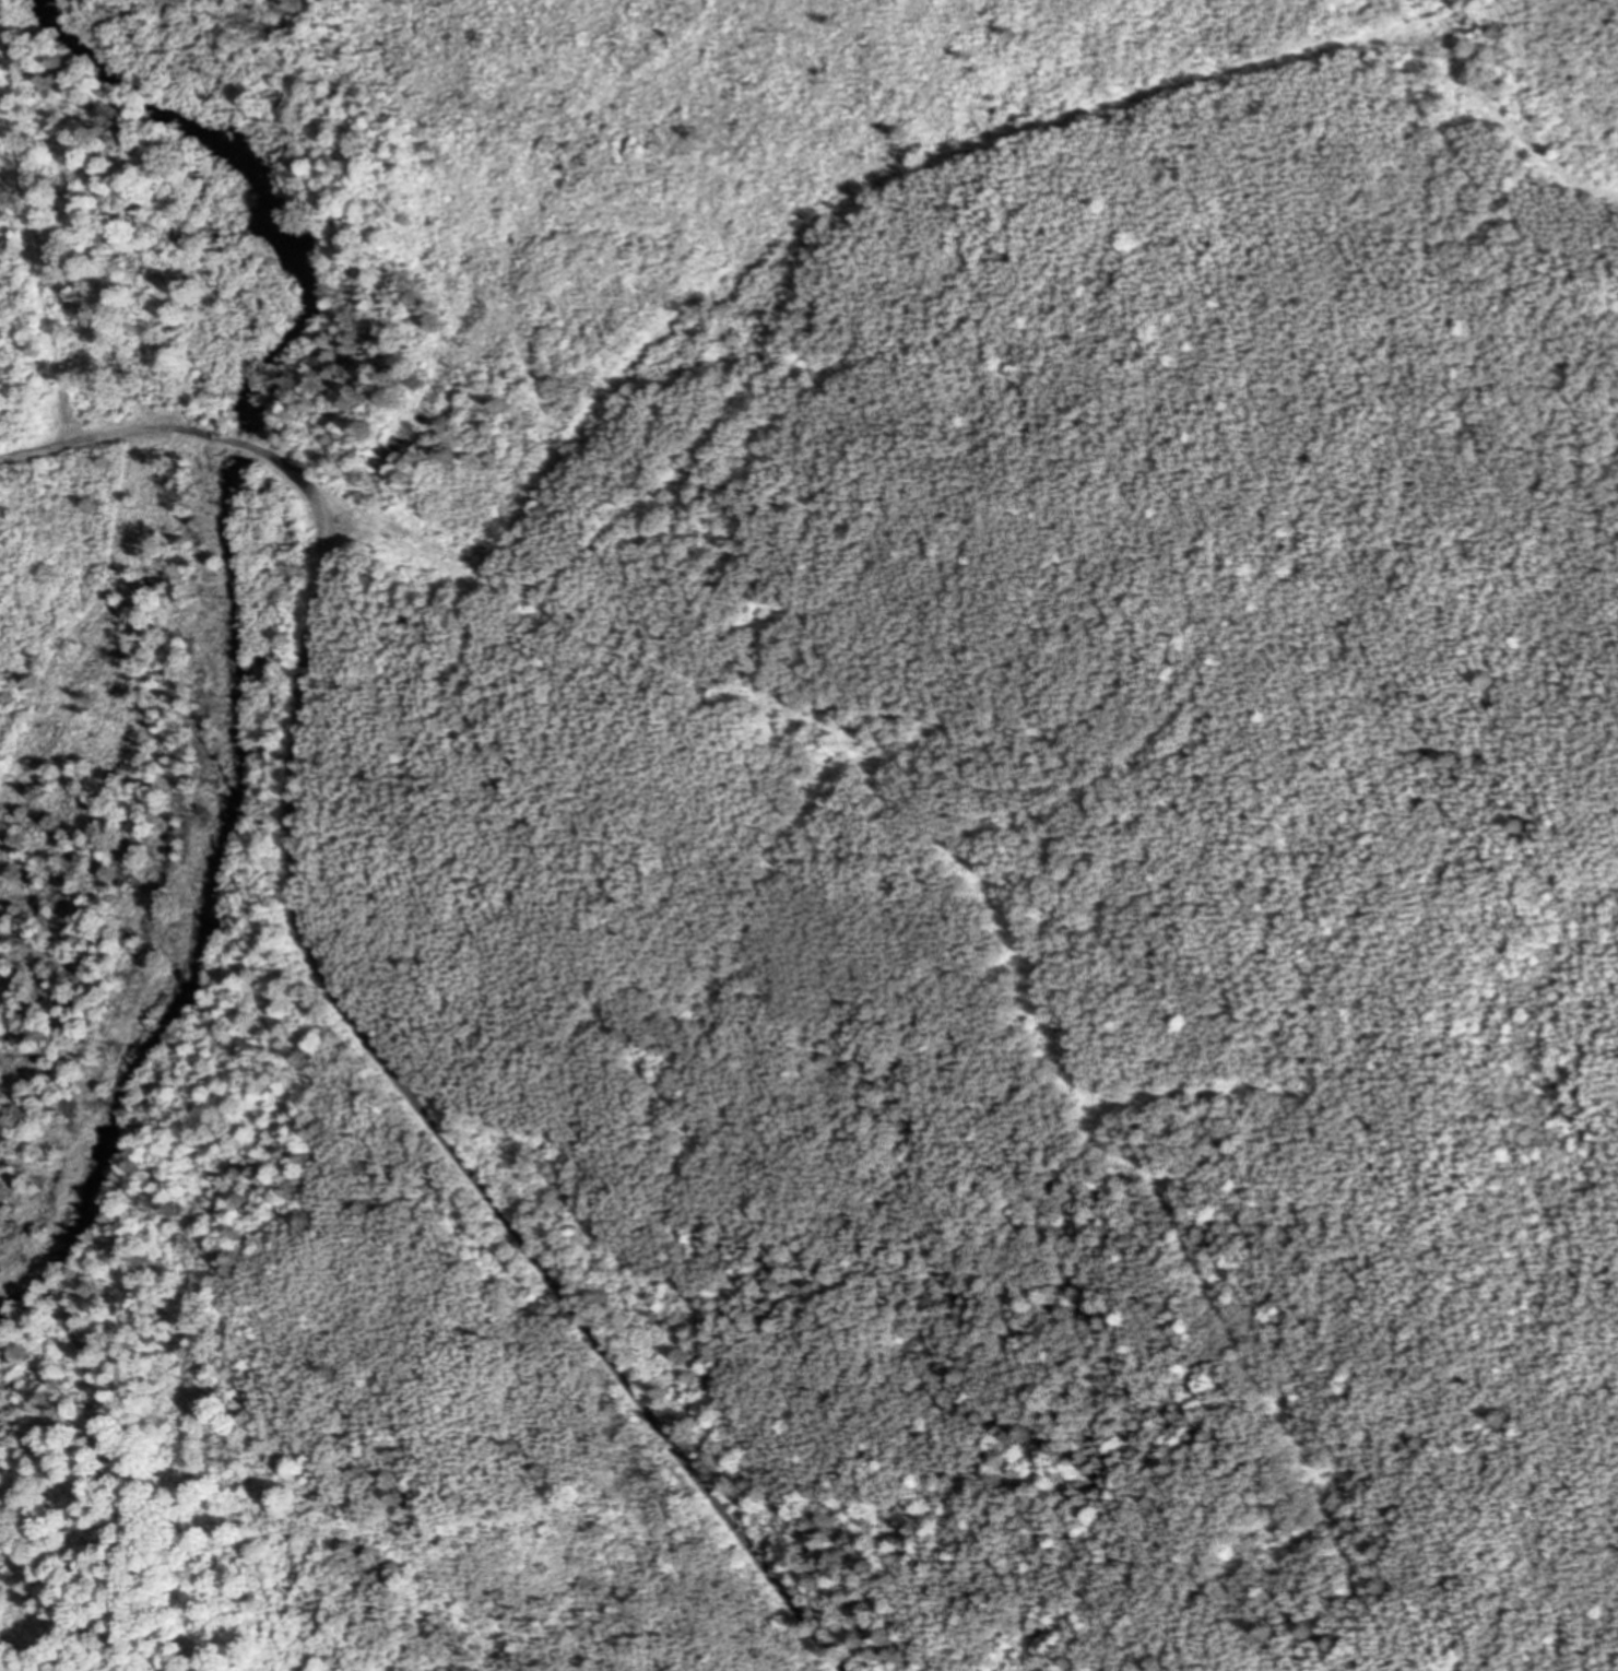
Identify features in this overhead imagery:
river: (126, 81)
river: (279, 211)
river: (294, 365)
river: (243, 444)
road: (322, 568)
river: (229, 927)
road: (583, 1323)

